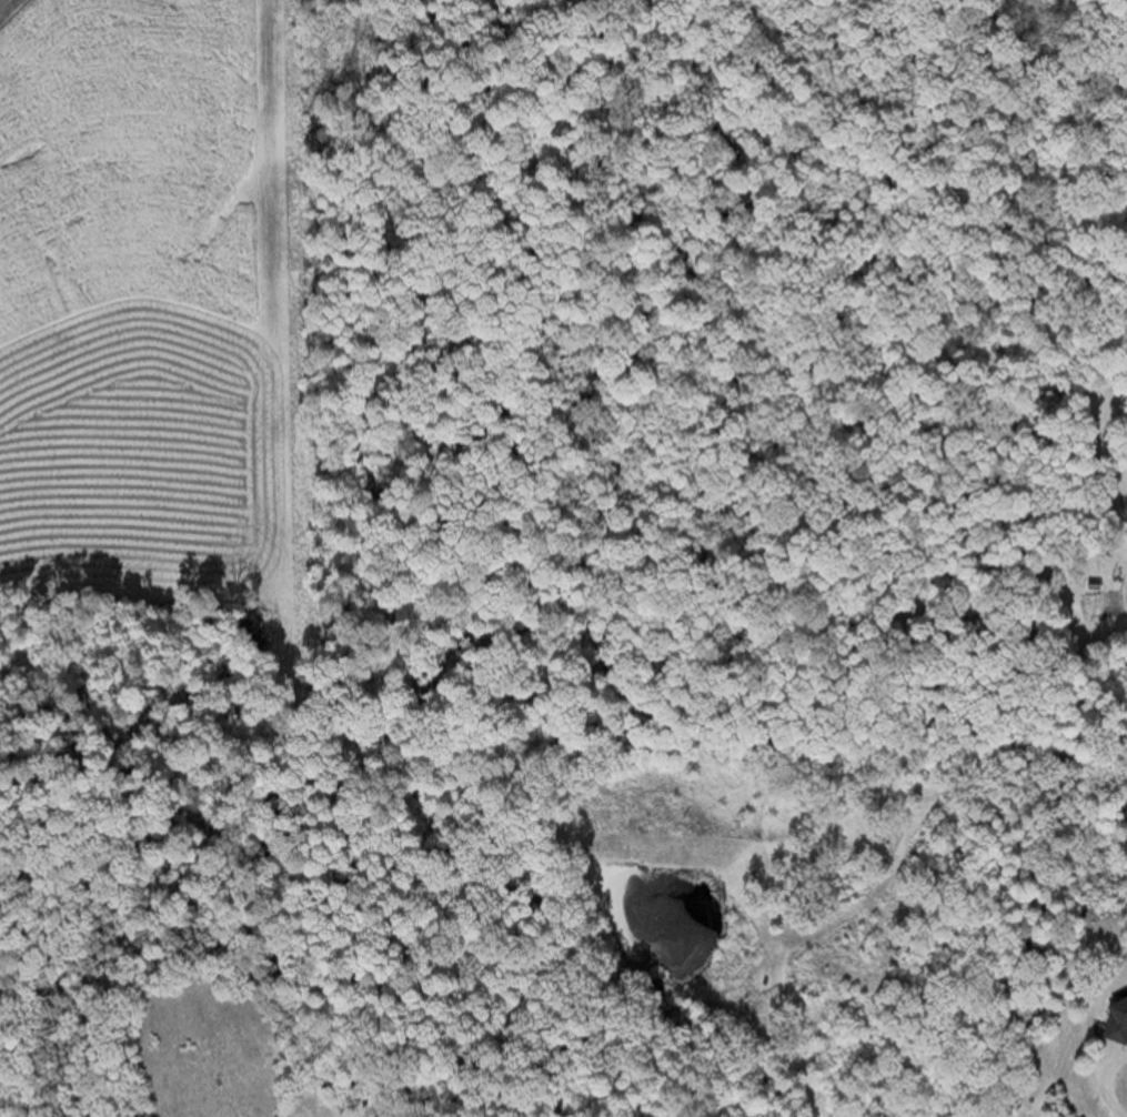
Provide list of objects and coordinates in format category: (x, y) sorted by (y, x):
building: (1113, 1017)

